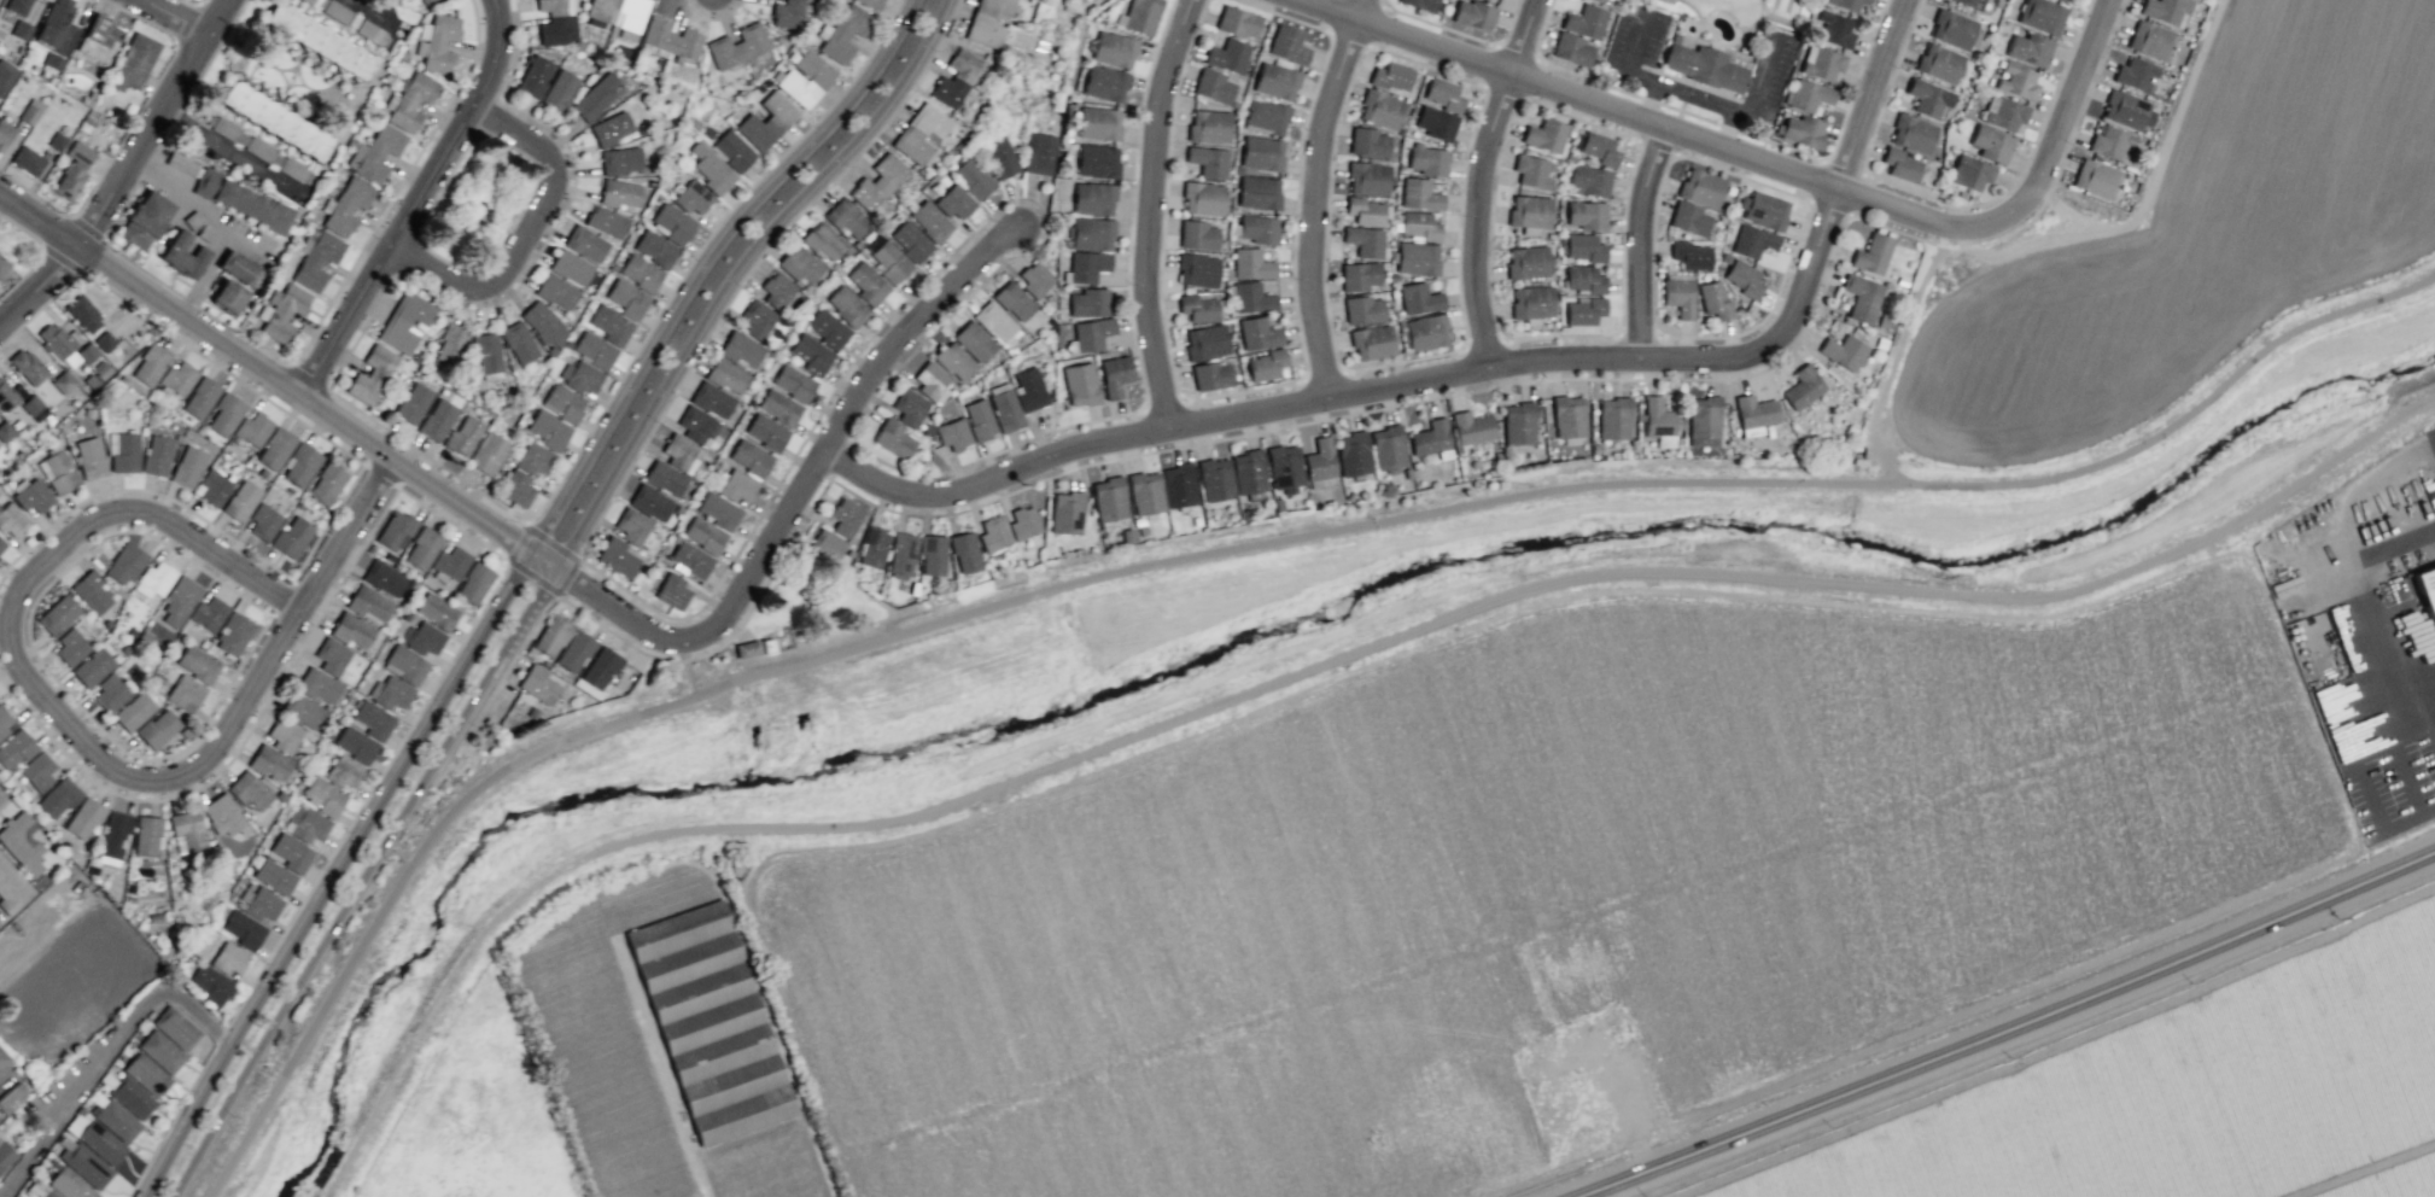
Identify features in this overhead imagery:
building: (1484, 0)
building: (2061, 0)
building: (425, 1)
building: (1599, 1)
building: (870, 2)
building: (1969, 2)
building: (1420, 4)
building: (1845, 4)
building: (17, 6)
park: (1773, 6)
road: (1760, 7)
park: (1786, 8)
building: (2165, 11)
building: (787, 13)
building: (1472, 14)
road: (176, 16)
building: (1141, 16)
building: (2040, 16)
building: (620, 17)
road: (1754, 19)
building: (1584, 21)
road: (1699, 21)
building: (556, 22)
building: (987, 22)
building: (1237, 22)
road: (1432, 23)
road: (1507, 27)
building: (1834, 29)
building: (1952, 29)
building: (19, 31)
building: (56, 33)
building: (845, 33)
building: (671, 39)
building: (1674, 39)
building: (99, 40)
building: (319, 40)
building: (2150, 40)
building: (437, 42)
building: (1286, 45)
building: (736, 46)
road: (1712, 47)
building: (1570, 48)
building: (2027, 48)
building: (1113, 49)
parking lot: (1629, 54)
building: (1227, 56)
building: (133, 62)
building: (1820, 63)
building: (1938, 63)
building: (1703, 66)
building: (730, 71)
building: (2135, 74)
building: (5, 75)
building: (535, 76)
building: (1391, 76)
building: (805, 78)
building: (954, 78)
building: (1275, 81)
building: (2016, 81)
building: (1103, 83)
building: (1211, 86)
building: (559, 89)
road: (1567, 92)
building: (1441, 94)
building: (1808, 95)
building: (595, 97)
building: (1927, 98)
road: (1693, 99)
building: (410, 100)
road: (1648, 103)
road: (1681, 103)
building: (1380, 109)
building: (30, 111)
building: (2127, 111)
building: (2003, 112)
building: (1265, 117)
building: (274, 119)
building: (766, 121)
building: (1098, 123)
building: (1435, 123)
building: (1209, 125)
building: (611, 128)
road: (1732, 128)
road: (1725, 129)
building: (1800, 130)
building: (919, 132)
building: (4, 133)
building: (1911, 133)
building: (1544, 134)
road: (2051, 141)
building: (1367, 142)
building: (1990, 144)
building: (256, 148)
building: (1599, 148)
building: (732, 150)
building: (374, 153)
building: (1038, 153)
building: (1261, 153)
building: (999, 157)
building: (1569, 158)
building: (1426, 159)
building: (27, 160)
building: (620, 160)
building: (1097, 160)
building: (1208, 160)
road: (2161, 163)
building: (1899, 164)
road: (124, 167)
building: (711, 169)
building: (72, 170)
building: (1530, 171)
building: (1969, 171)
building: (973, 177)
building: (1367, 177)
road: (1477, 179)
building: (1589, 179)
road: (1748, 179)
building: (2095, 179)
building: (877, 182)
building: (1700, 187)
building: (1728, 189)
building: (1257, 192)
building: (619, 193)
building: (1419, 194)
road: (1314, 195)
building: (693, 197)
building: (1092, 198)
building: (1203, 198)
building: (241, 200)
building: (953, 202)
road: (413, 203)
building: (346, 205)
park: (483, 205)
road: (1892, 208)
building: (1364, 210)
building: (1763, 210)
building: (1528, 211)
building: (1586, 214)
road: (1152, 215)
building: (846, 217)
building: (1688, 217)
building: (1721, 218)
building: (144, 220)
building: (1729, 220)
building: (605, 221)
building: (929, 221)
building: (671, 223)
road: (215, 224)
building: (1419, 226)
building: (1259, 228)
road: (524, 232)
building: (1091, 234)
building: (1197, 235)
building: (1549, 235)
road: (1637, 239)
building: (1365, 240)
building: (910, 241)
building: (1752, 241)
building: (585, 243)
building: (823, 243)
crop: (2184, 245)
building: (1583, 247)
building: (654, 249)
building: (182, 255)
building: (1691, 255)
building: (1871, 255)
building: (1724, 257)
building: (1417, 258)
building: (317, 259)
building: (889, 262)
building: (1526, 263)
building: (799, 264)
building: (1251, 264)
building: (2, 265)
building: (1086, 265)
building: (237, 267)
road: (479, 267)
building: (571, 267)
building: (1197, 270)
building: (640, 273)
building: (1359, 275)
building: (1034, 278)
building: (1583, 279)
building: (1744, 279)
building: (866, 284)
building: (777, 290)
building: (556, 291)
road: (148, 296)
building: (228, 296)
building: (1678, 296)
building: (1251, 297)
building: (1861, 297)
building: (626, 298)
building: (1418, 298)
building: (1012, 300)
building: (1713, 300)
building: (1087, 302)
building: (1531, 302)
building: (847, 305)
building: (1198, 308)
building: (1362, 310)
building: (1583, 310)
building: (282, 311)
building: (82, 314)
building: (757, 319)
building: (404, 321)
building: (994, 322)
building: (544, 323)
road: (1495, 323)
building: (611, 325)
building: (828, 328)
building: (1425, 332)
building: (1091, 333)
building: (1257, 333)
building: (54, 340)
building: (974, 340)
building: (518, 341)
building: (1205, 341)
building: (1371, 341)
building: (450, 344)
building: (740, 349)
building: (594, 350)
building: (1843, 351)
building: (811, 354)
road: (1896, 355)
building: (487, 356)
building: (953, 360)
building: (150, 364)
building: (1265, 364)
building: (27, 366)
road: (1468, 369)
building: (370, 374)
building: (726, 375)
building: (1114, 375)
building: (1210, 375)
building: (579, 376)
building: (177, 378)
building: (930, 380)
building: (62, 381)
building: (793, 383)
building: (1080, 384)
building: (1802, 387)
building: (1029, 389)
building: (6, 396)
building: (200, 397)
building: (712, 399)
building: (413, 403)
building: (562, 403)
building: (778, 407)
building: (909, 407)
building: (1004, 407)
road: (848, 408)
building: (224, 414)
building: (1753, 414)
building: (1567, 416)
building: (1613, 418)
building: (437, 419)
building: (979, 419)
building: (1658, 421)
building: (1704, 421)
building: (696, 424)
building: (1518, 424)
building: (252, 428)
building: (1471, 428)
building: (548, 430)
building: (765, 432)
building: (952, 433)
building: (462, 437)
building: (1430, 437)
building: (893, 438)
building: (1388, 448)
building: (275, 449)
building: (122, 451)
building: (679, 452)
building: (487, 454)
building: (1353, 454)
building: (156, 455)
building: (89, 457)
building: (533, 457)
building: (749, 457)
building: (1319, 460)
building: (300, 465)
building: (187, 467)
building: (1284, 467)
building: (58, 472)
road: (381, 472)
building: (1248, 472)
building: (664, 478)
building: (1215, 479)
building: (326, 484)
building: (1178, 485)
building: (211, 486)
building: (736, 486)
building: (516, 489)
building: (1144, 492)
building: (30, 495)
building: (1108, 498)
building: (240, 500)
building: (650, 503)
building: (717, 510)
building: (1067, 513)
building: (845, 516)
building: (11, 519)
building: (263, 521)
building: (1023, 522)
building: (631, 525)
building: (396, 531)
road: (343, 533)
building: (993, 533)
building: (703, 535)
building: (291, 537)
road: (501, 537)
building: (1, 544)
building: (825, 544)
building: (872, 547)
building: (422, 548)
building: (964, 551)
road: (1221, 554)
building: (932, 555)
building: (615, 556)
building: (900, 556)
road: (503, 559)
building: (689, 560)
building: (124, 564)
building: (449, 564)
road: (296, 572)
building: (384, 578)
building: (154, 579)
road: (292, 580)
building: (473, 583)
road: (502, 585)
road: (549, 588)
building: (92, 591)
building: (672, 591)
building: (2428, 591)
road: (281, 597)
building: (179, 601)
building: (369, 603)
park: (807, 607)
building: (437, 611)
building: (208, 613)
building: (57, 614)
building: (351, 630)
building: (233, 633)
building: (551, 635)
building: (422, 638)
building: (70, 648)
building: (747, 648)
building: (574, 650)
road: (36, 656)
building: (332, 656)
building: (197, 664)
building: (404, 664)
road: (18, 665)
building: (92, 667)
building: (600, 667)
building: (538, 684)
building: (319, 685)
building: (109, 693)
building: (185, 693)
building: (390, 693)
building: (302, 711)
building: (133, 712)
building: (372, 719)
building: (157, 729)
building: (282, 734)
building: (355, 743)
building: (14, 749)
building: (270, 763)
park: (676, 770)
building: (37, 771)
building: (343, 771)
building: (250, 792)
building: (323, 795)
building: (58, 798)
road: (4, 802)
building: (222, 814)
building: (83, 818)
building: (306, 824)
building: (187, 831)
building: (146, 836)
building: (113, 837)
building: (21, 842)
building: (291, 852)
crop: (1547, 865)
building: (274, 876)
building: (11, 888)
crop: (1553, 891)
building: (262, 904)
building: (244, 929)
building: (228, 958)
building: (210, 983)
building: (710, 1022)
building: (175, 1028)
crop: (675, 1033)
road: (2021, 1039)
building: (160, 1051)
building: (2, 1057)
road: (105, 1059)
building: (146, 1074)
building: (132, 1097)
building: (11, 1098)
building: (117, 1120)
park: (275, 1123)
building: (101, 1141)
building: (5, 1155)
building: (84, 1163)
building: (70, 1185)
road: (1643, 1190)
building: (47, 1193)

